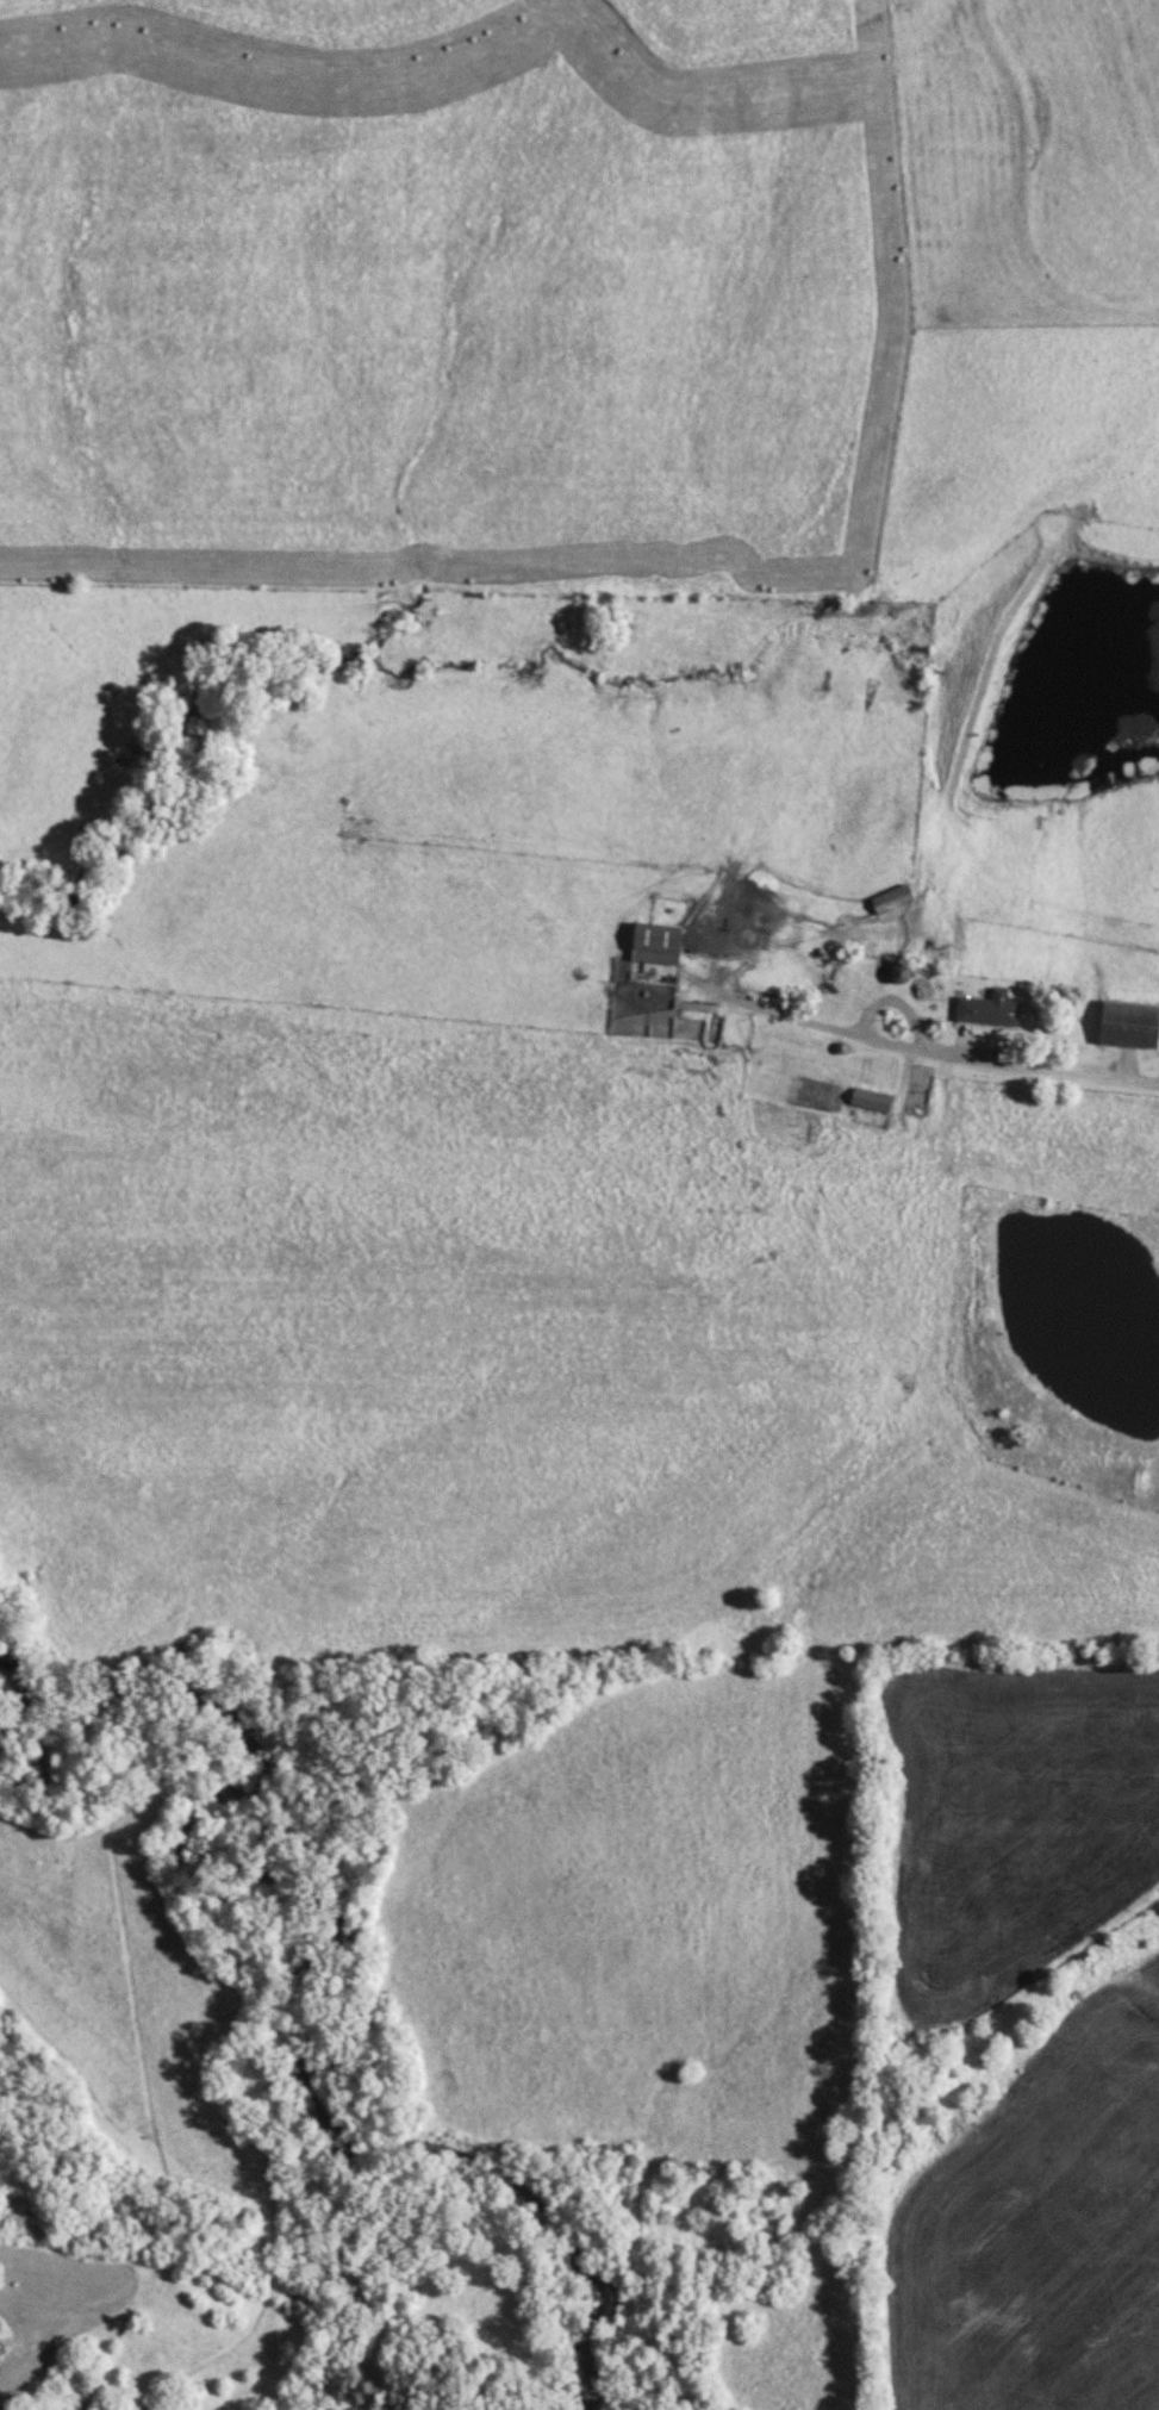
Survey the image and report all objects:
building: (892, 898)
building: (761, 935)
building: (656, 942)
building: (987, 1008)
building: (1129, 1023)
road: (921, 1042)
building: (872, 1098)

